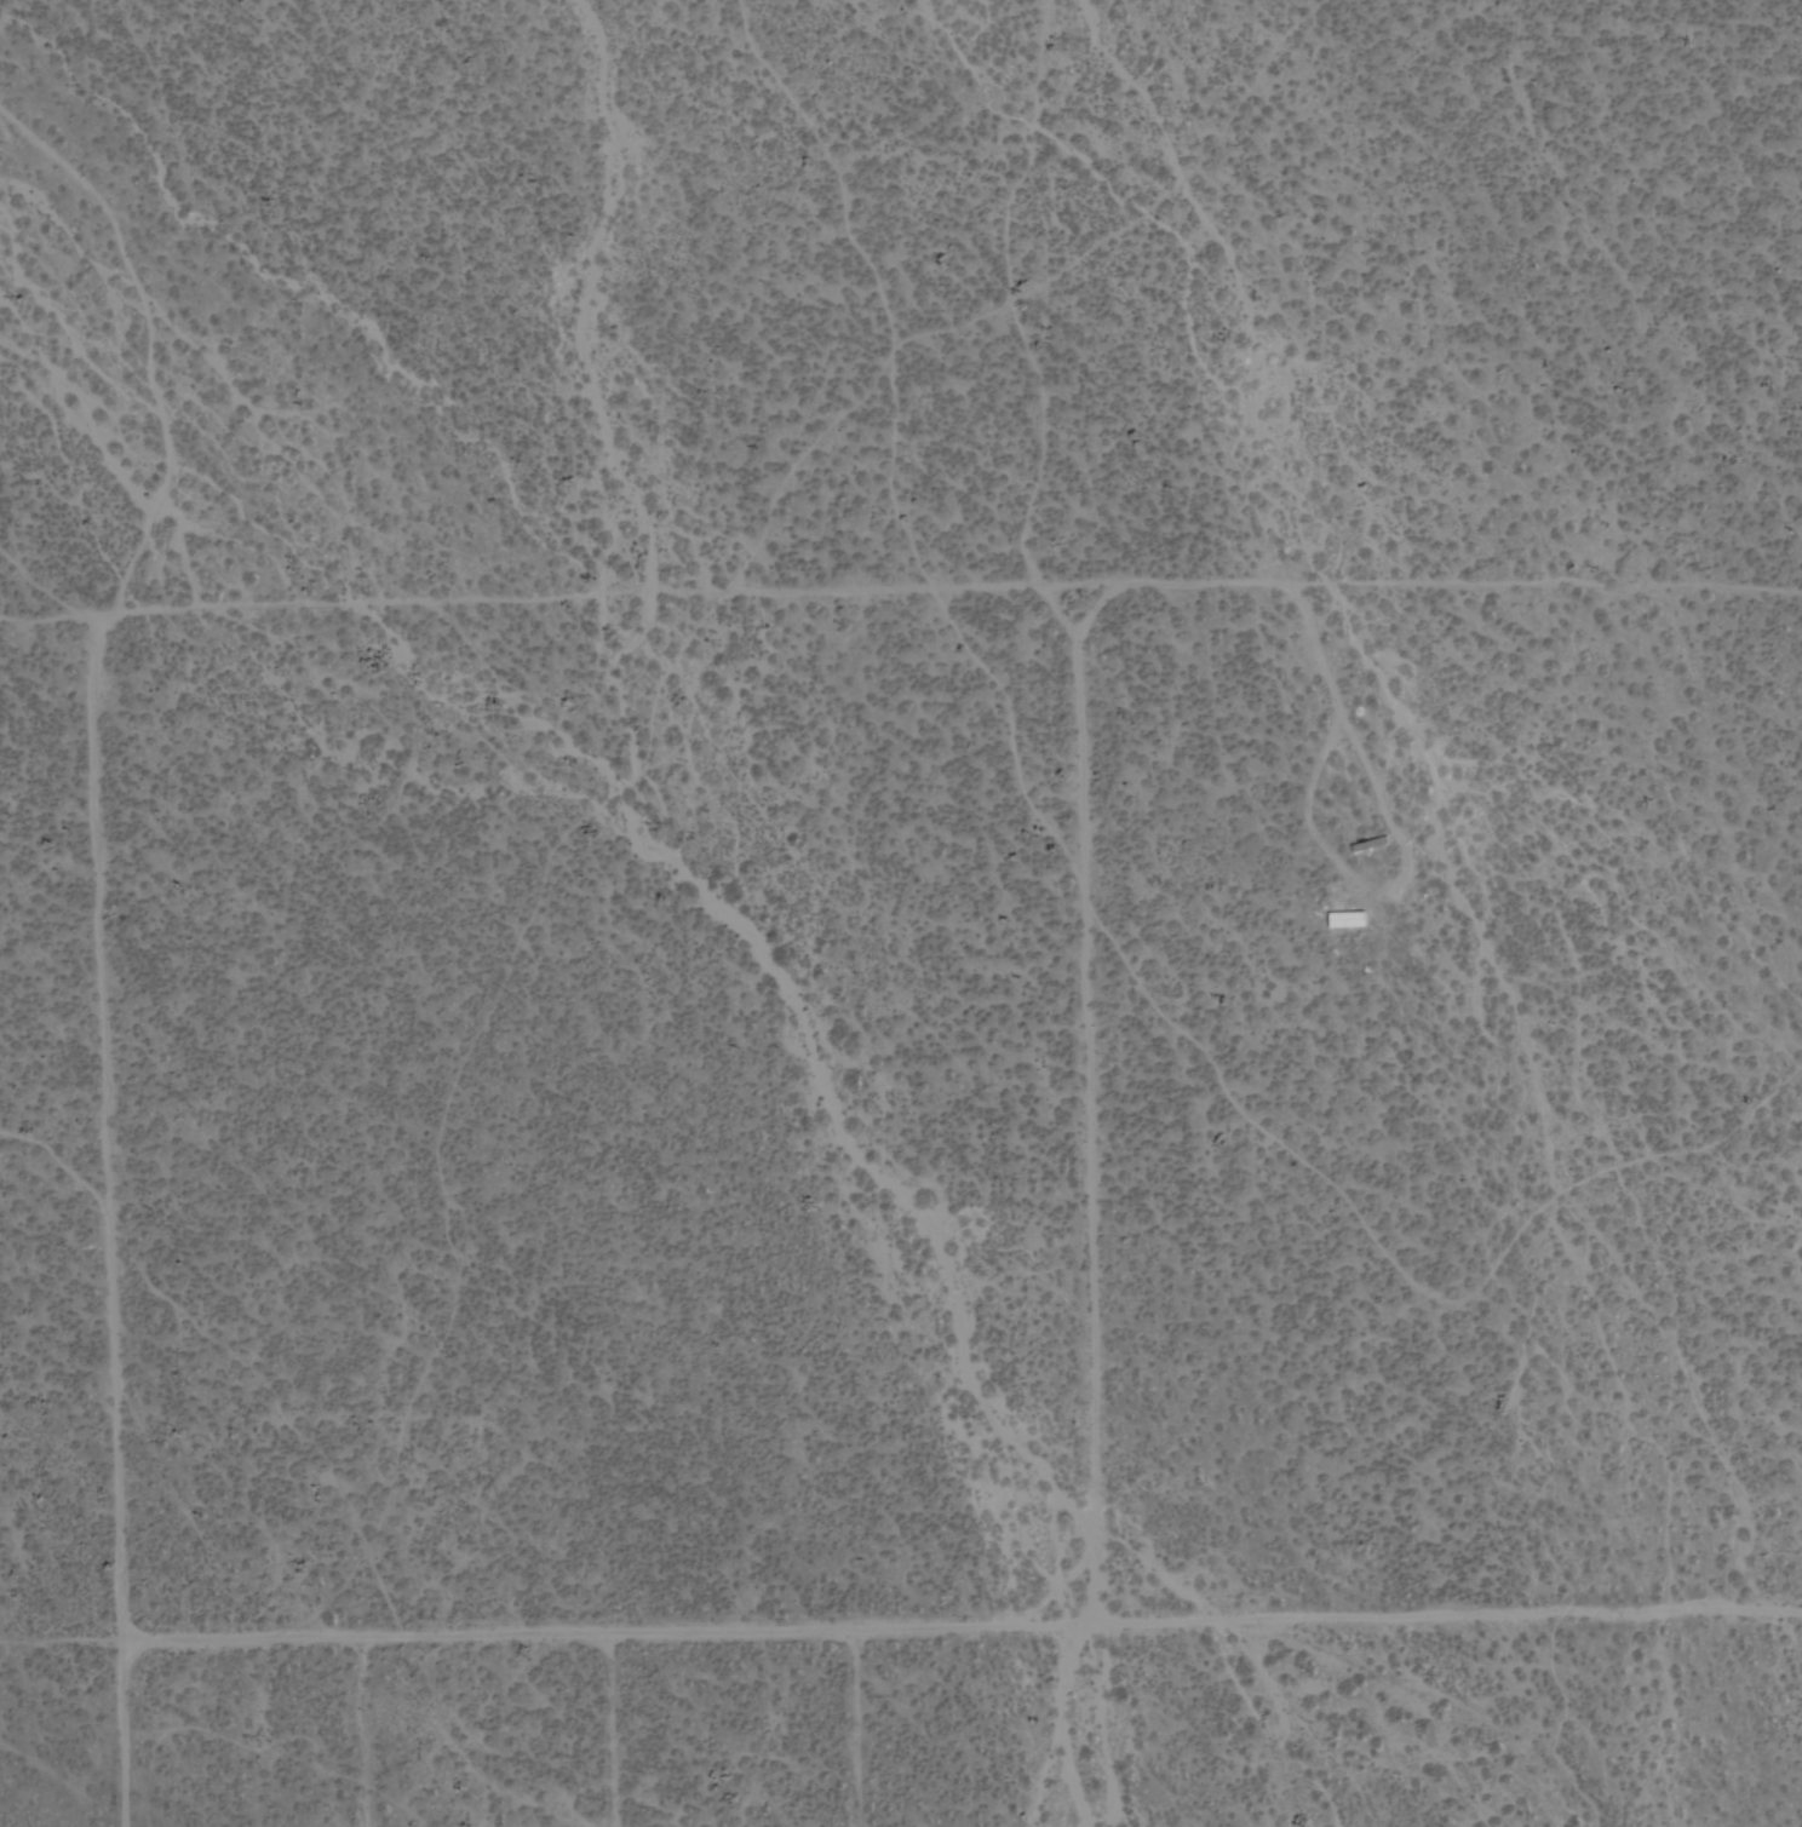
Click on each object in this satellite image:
building: (1347, 921)
road: (104, 1128)
road: (1089, 1213)
road: (1611, 1771)

